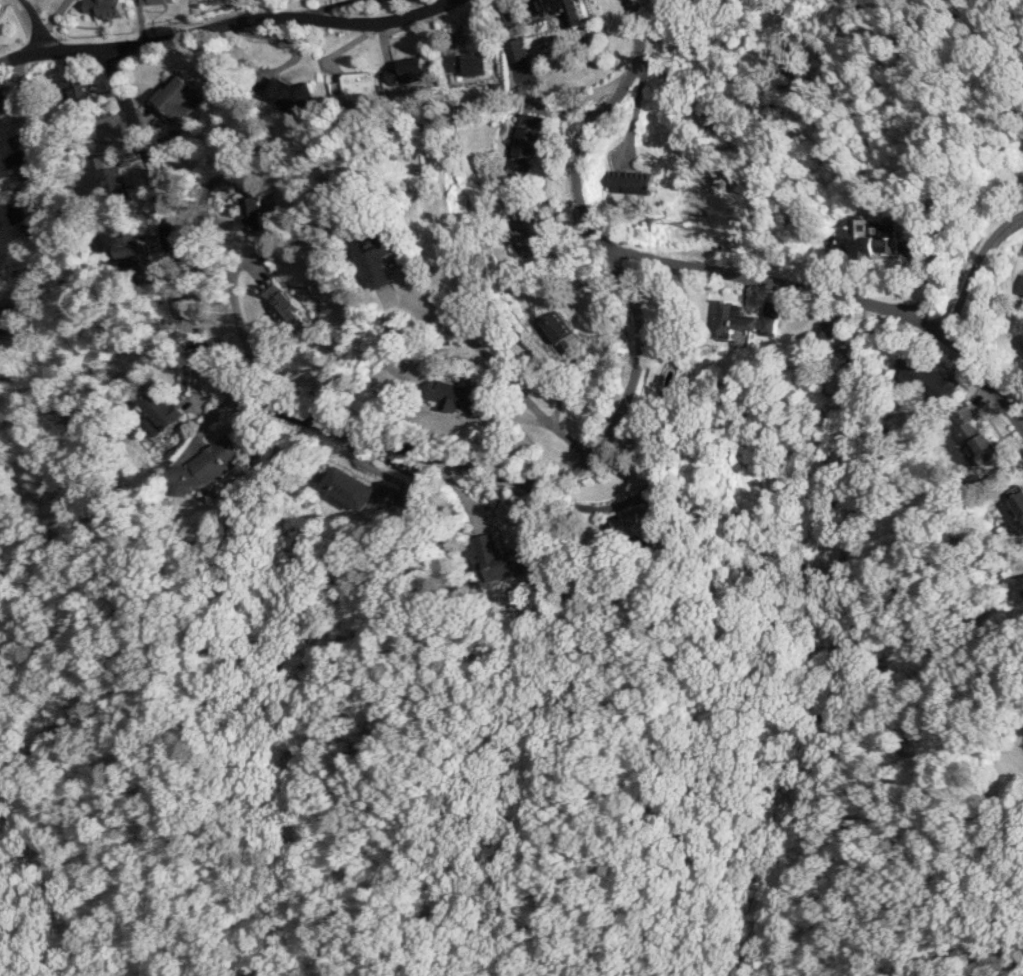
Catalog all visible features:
building: (155, 1)
building: (0, 5)
building: (100, 7)
building: (562, 10)
road: (226, 27)
road: (36, 28)
building: (466, 62)
building: (406, 71)
building: (351, 84)
building: (76, 90)
building: (174, 96)
building: (3, 101)
building: (525, 141)
building: (25, 164)
building: (112, 177)
building: (631, 181)
road: (53, 190)
building: (24, 209)
building: (250, 213)
building: (870, 236)
building: (128, 243)
building: (131, 260)
building: (376, 264)
road: (976, 270)
building: (1020, 285)
road: (828, 296)
building: (12, 317)
building: (741, 322)
building: (826, 329)
building: (559, 330)
building: (925, 376)
building: (451, 395)
building: (160, 409)
building: (977, 435)
building: (204, 465)
road: (475, 468)
building: (350, 486)
building: (387, 495)
building: (1016, 499)
building: (636, 525)
building: (485, 541)
building: (506, 564)

